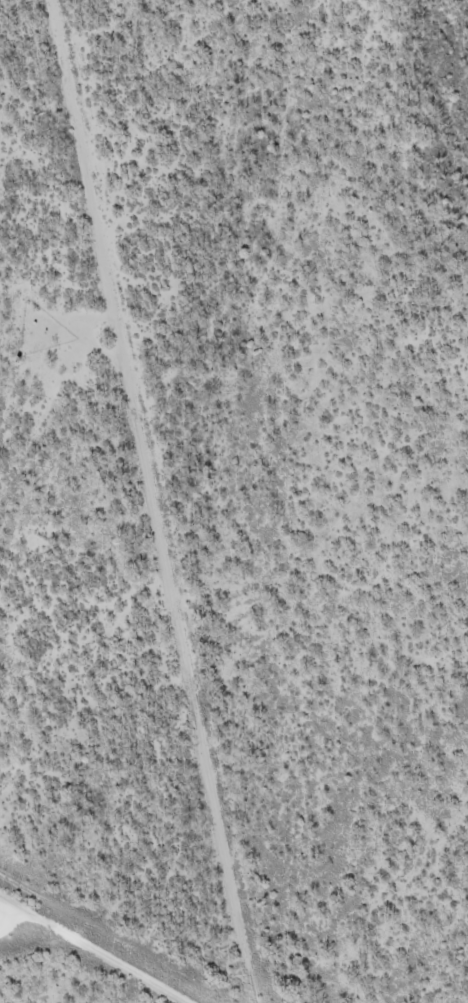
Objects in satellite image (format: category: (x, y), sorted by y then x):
road: (87, 954)

